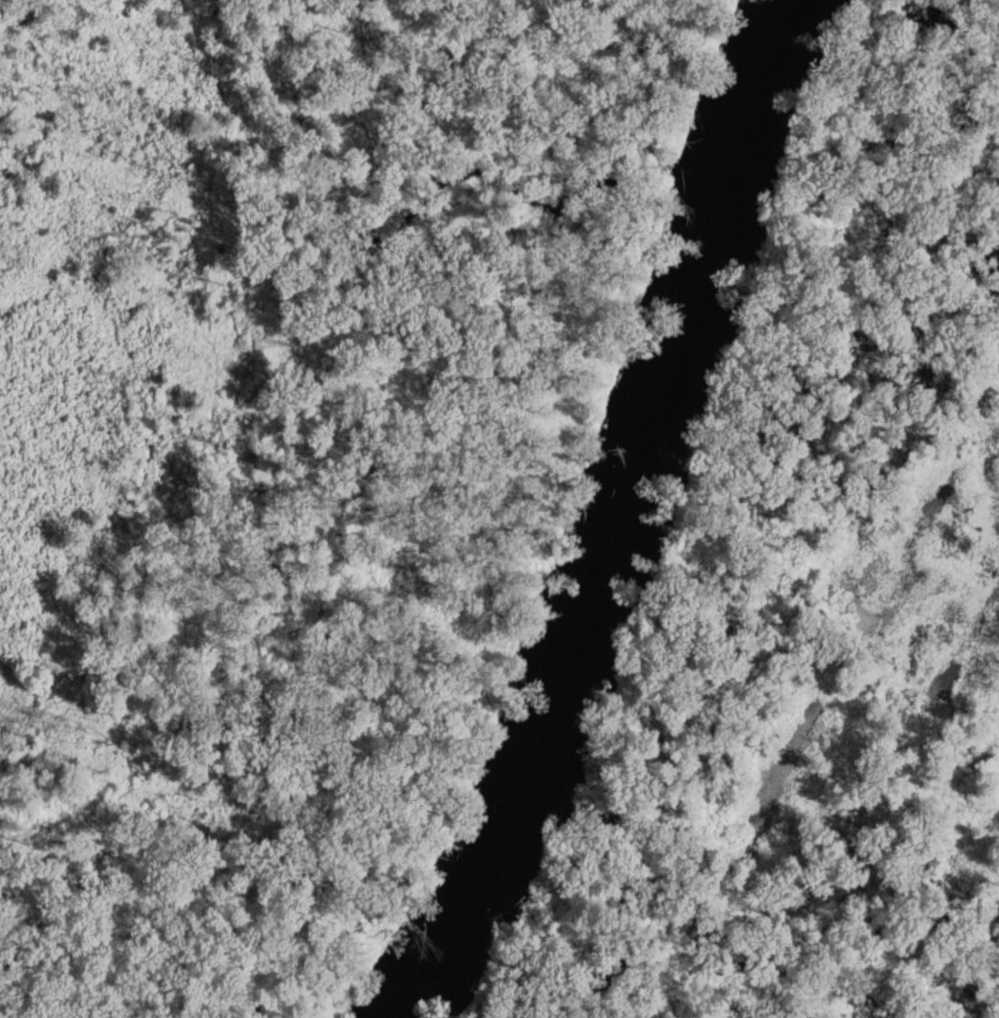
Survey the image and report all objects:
river: (623, 514)

